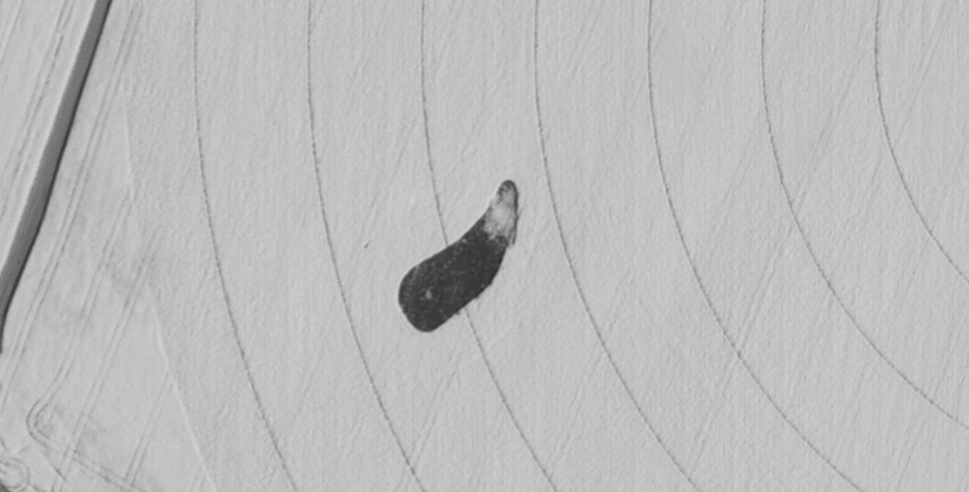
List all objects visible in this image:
road: (49, 149)

